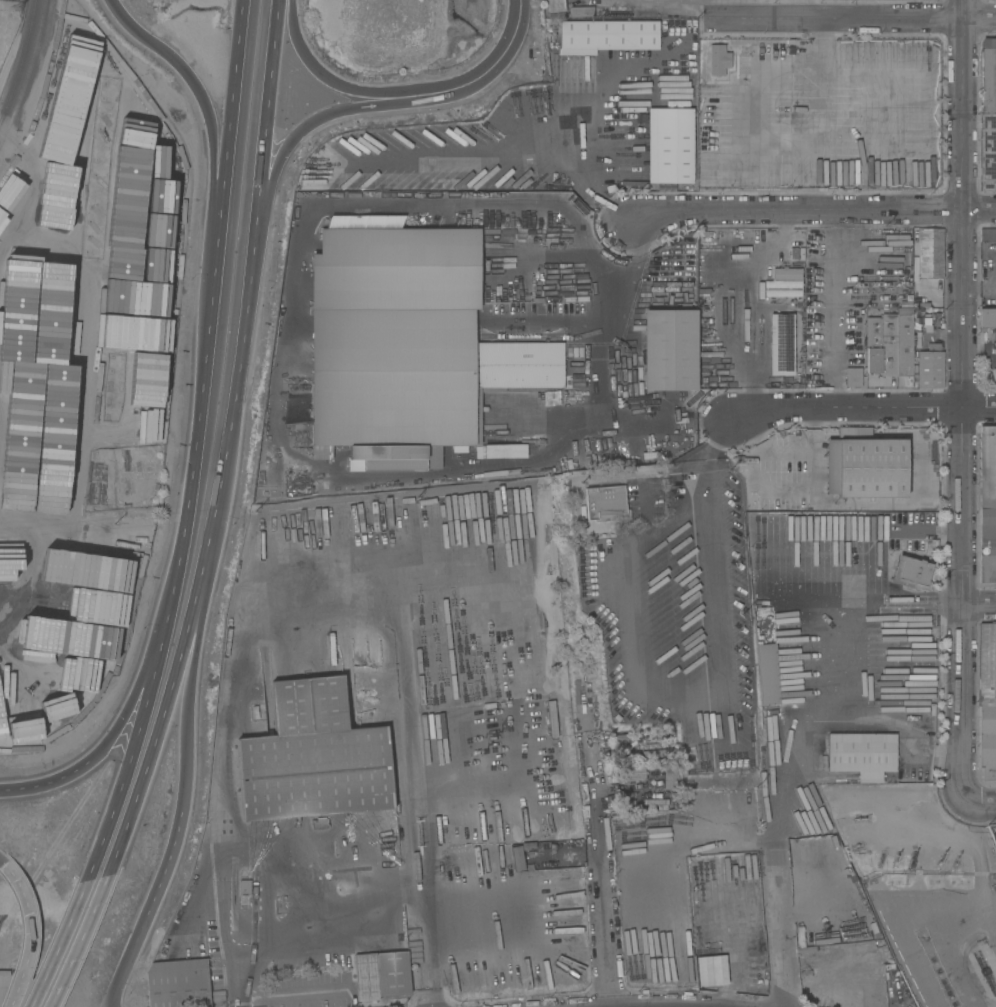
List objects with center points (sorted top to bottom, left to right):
road: (693, 4)
building: (555, 8)
road: (827, 9)
power tower: (5, 10)
building: (581, 12)
road: (853, 19)
building: (608, 35)
railway: (21, 64)
road: (484, 72)
railway: (29, 75)
building: (728, 75)
road: (322, 76)
building: (988, 76)
road: (230, 91)
building: (669, 145)
road: (535, 149)
building: (987, 152)
road: (211, 160)
road: (260, 165)
road: (274, 173)
road: (374, 201)
road: (35, 209)
road: (812, 210)
building: (987, 235)
building: (929, 253)
road: (52, 270)
road: (213, 271)
road: (630, 277)
building: (784, 279)
building: (782, 293)
road: (77, 303)
building: (987, 318)
road: (834, 320)
building: (873, 342)
building: (904, 342)
building: (405, 344)
building: (781, 344)
building: (889, 345)
building: (668, 350)
building: (930, 370)
building: (853, 377)
road: (963, 401)
road: (865, 408)
building: (292, 409)
road: (616, 422)
road: (226, 449)
building: (513, 451)
road: (478, 464)
building: (864, 466)
building: (126, 467)
road: (379, 499)
building: (987, 503)
building: (605, 504)
building: (789, 506)
road: (187, 509)
road: (67, 521)
road: (30, 526)
building: (137, 542)
building: (910, 571)
building: (481, 575)
road: (980, 607)
road: (628, 613)
building: (921, 617)
building: (761, 619)
road: (832, 673)
building: (766, 674)
building: (987, 701)
building: (616, 718)
road: (117, 722)
road: (160, 722)
building: (503, 724)
road: (225, 727)
building: (622, 737)
road: (585, 743)
road: (746, 744)
road: (410, 752)
building: (854, 754)
building: (313, 757)
building: (628, 768)
road: (124, 770)
building: (672, 774)
road: (34, 787)
road: (184, 792)
road: (979, 803)
building: (637, 804)
petroleum well: (860, 818)
building: (637, 820)
building: (319, 824)
petroleum well: (882, 860)
petroleum well: (897, 860)
petroleum well: (912, 861)
petroleum well: (940, 862)
petroleum well: (956, 862)
road: (4, 865)
building: (244, 887)
road: (323, 921)
road: (29, 936)
road: (79, 940)
road: (56, 945)
building: (806, 950)
building: (870, 967)
building: (710, 971)
building: (808, 972)
building: (381, 975)
building: (177, 984)

